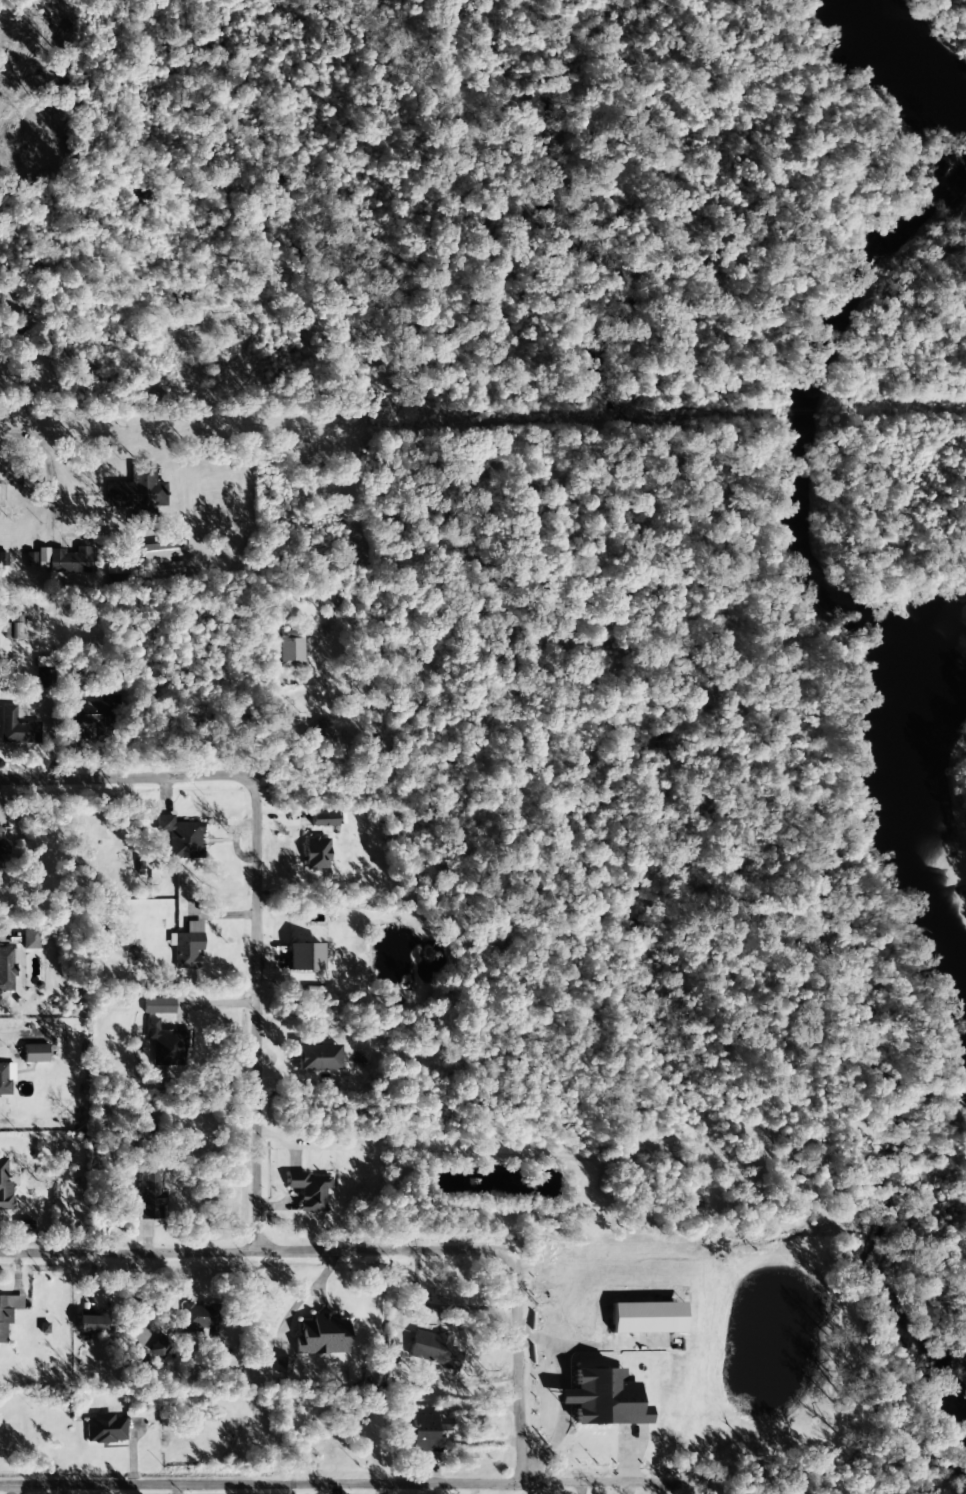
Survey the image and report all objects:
road: (11, 423)
building: (138, 493)
building: (30, 558)
building: (3, 559)
building: (66, 560)
building: (160, 560)
building: (16, 627)
building: (290, 648)
building: (42, 672)
building: (93, 717)
building: (17, 727)
building: (322, 730)
road: (303, 774)
road: (81, 780)
building: (322, 819)
building: (181, 836)
building: (2, 846)
building: (316, 853)
building: (29, 939)
building: (187, 945)
building: (305, 957)
building: (7, 967)
road: (221, 997)
building: (158, 1005)
building: (167, 1044)
building: (35, 1053)
building: (317, 1057)
building: (6, 1078)
building: (4, 1184)
building: (309, 1190)
building: (150, 1195)
road: (238, 1251)
building: (7, 1312)
building: (199, 1316)
building: (647, 1317)
building: (91, 1324)
building: (322, 1335)
building: (159, 1346)
building: (433, 1350)
road: (503, 1352)
building: (137, 1363)
building: (283, 1364)
building: (603, 1398)
building: (105, 1429)
building: (428, 1430)
road: (558, 1468)
road: (254, 1479)

